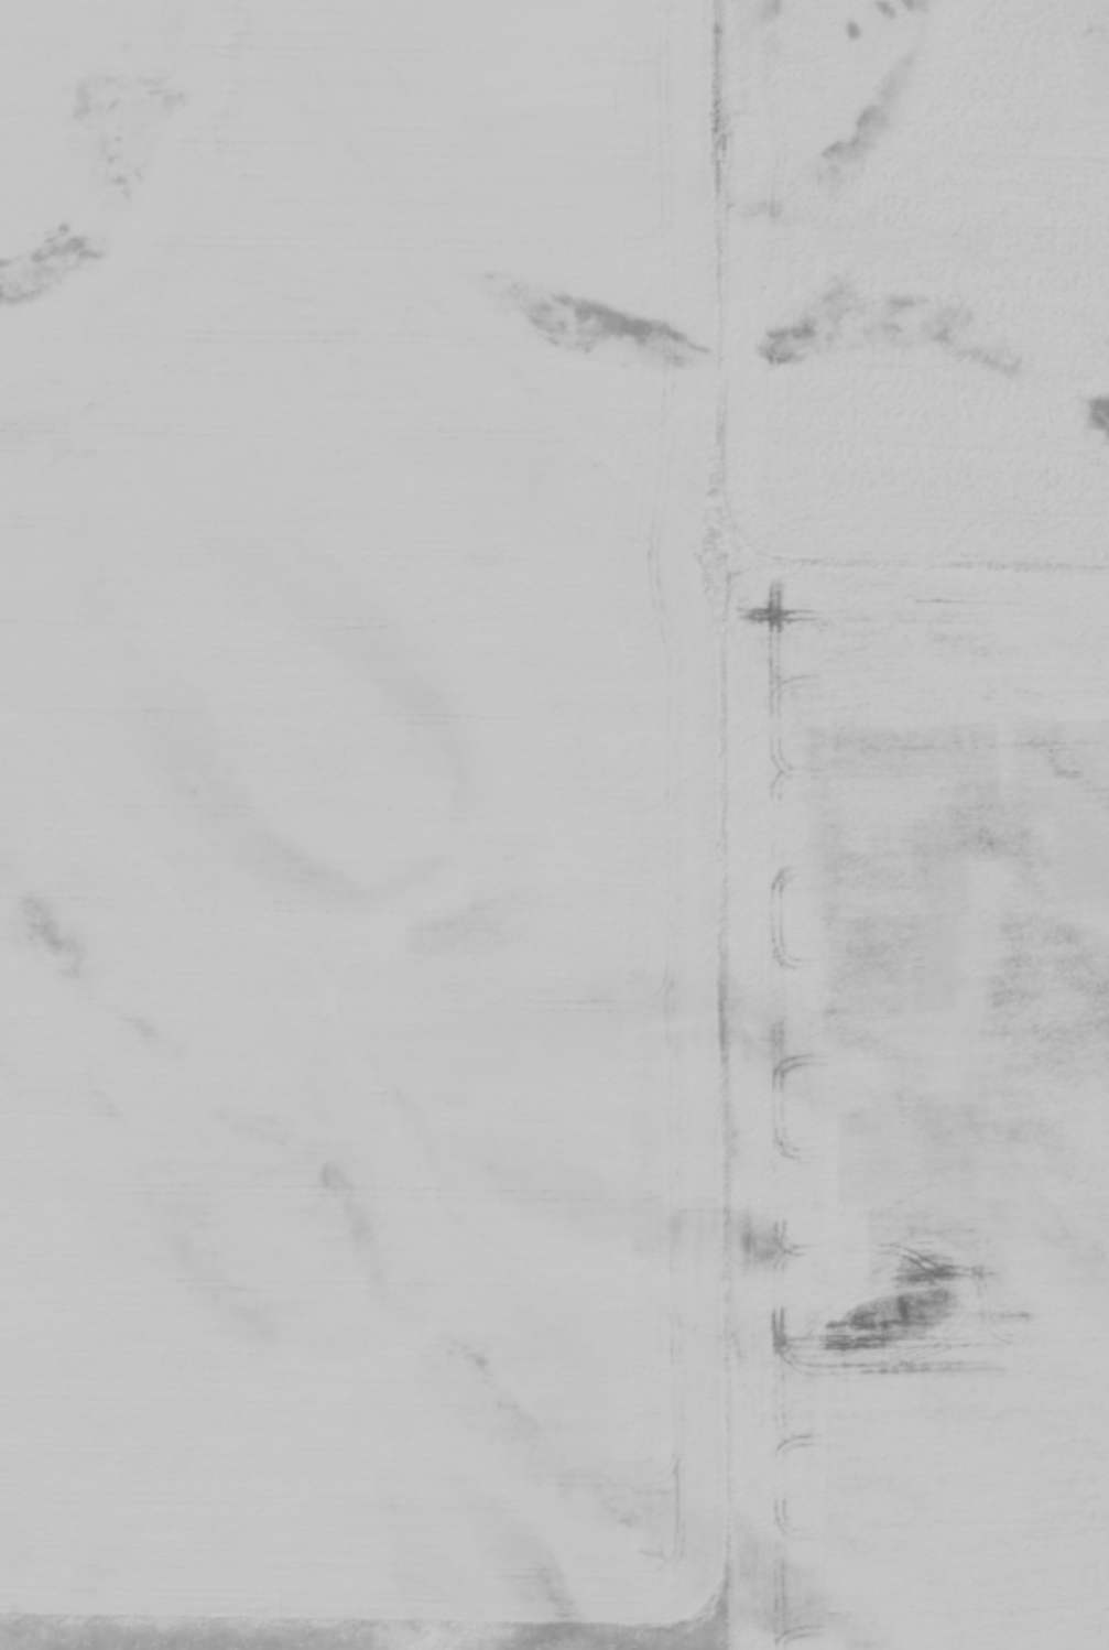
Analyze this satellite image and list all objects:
crop: (916, 275)

